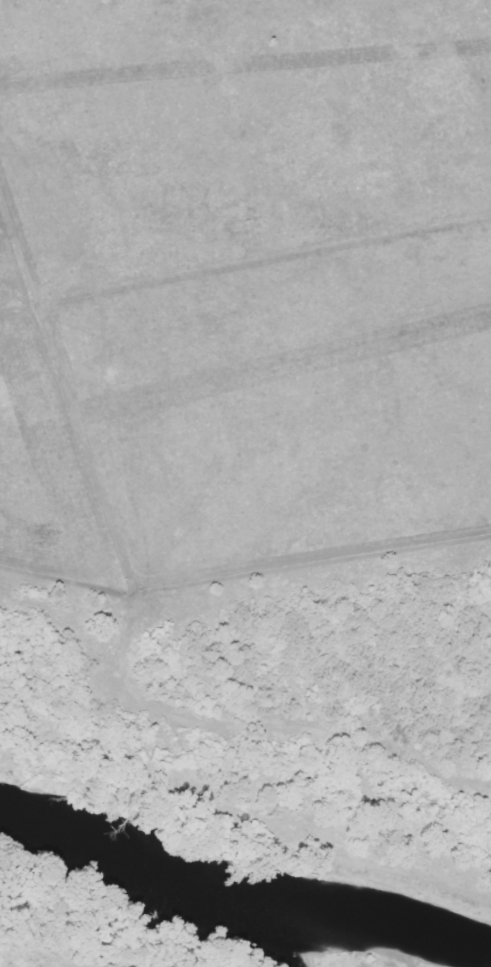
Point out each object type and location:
road: (229, 721)
river: (239, 906)

